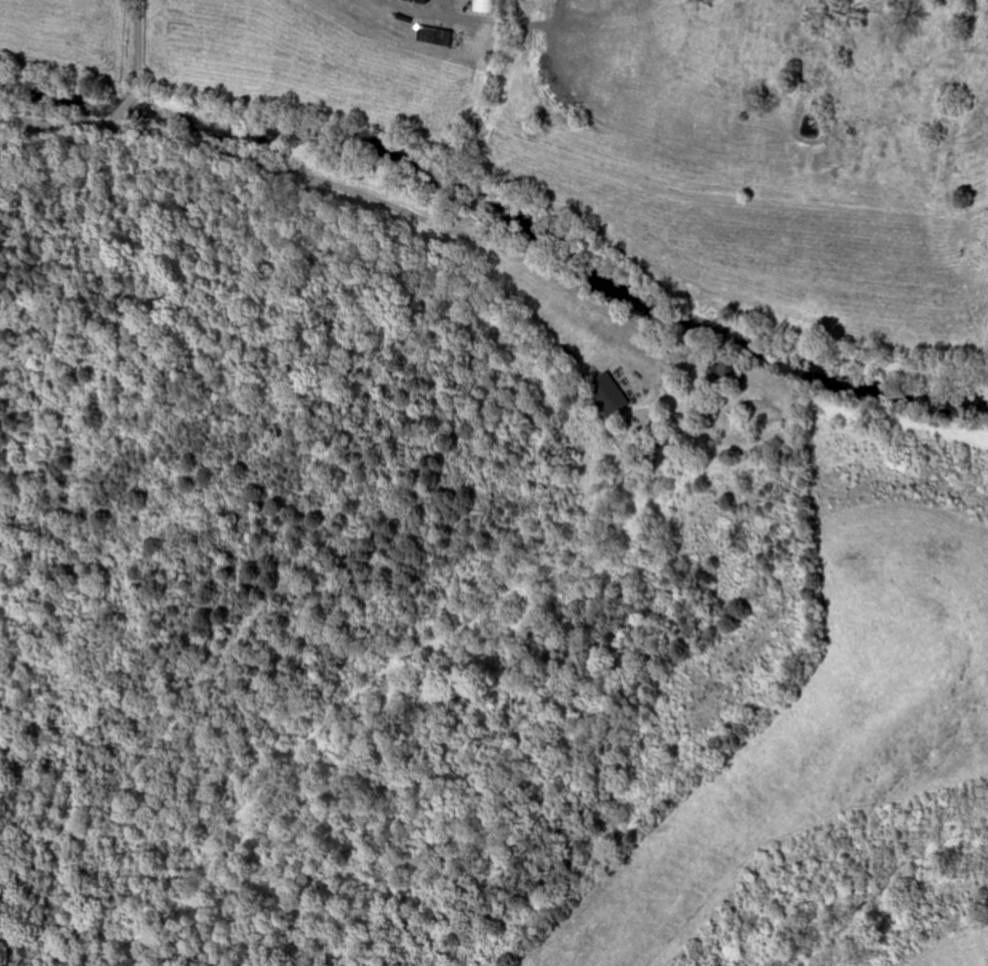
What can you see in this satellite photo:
building: (419, 2)
road: (397, 6)
building: (484, 7)
building: (436, 37)
road: (130, 92)
road: (25, 121)
building: (608, 395)

